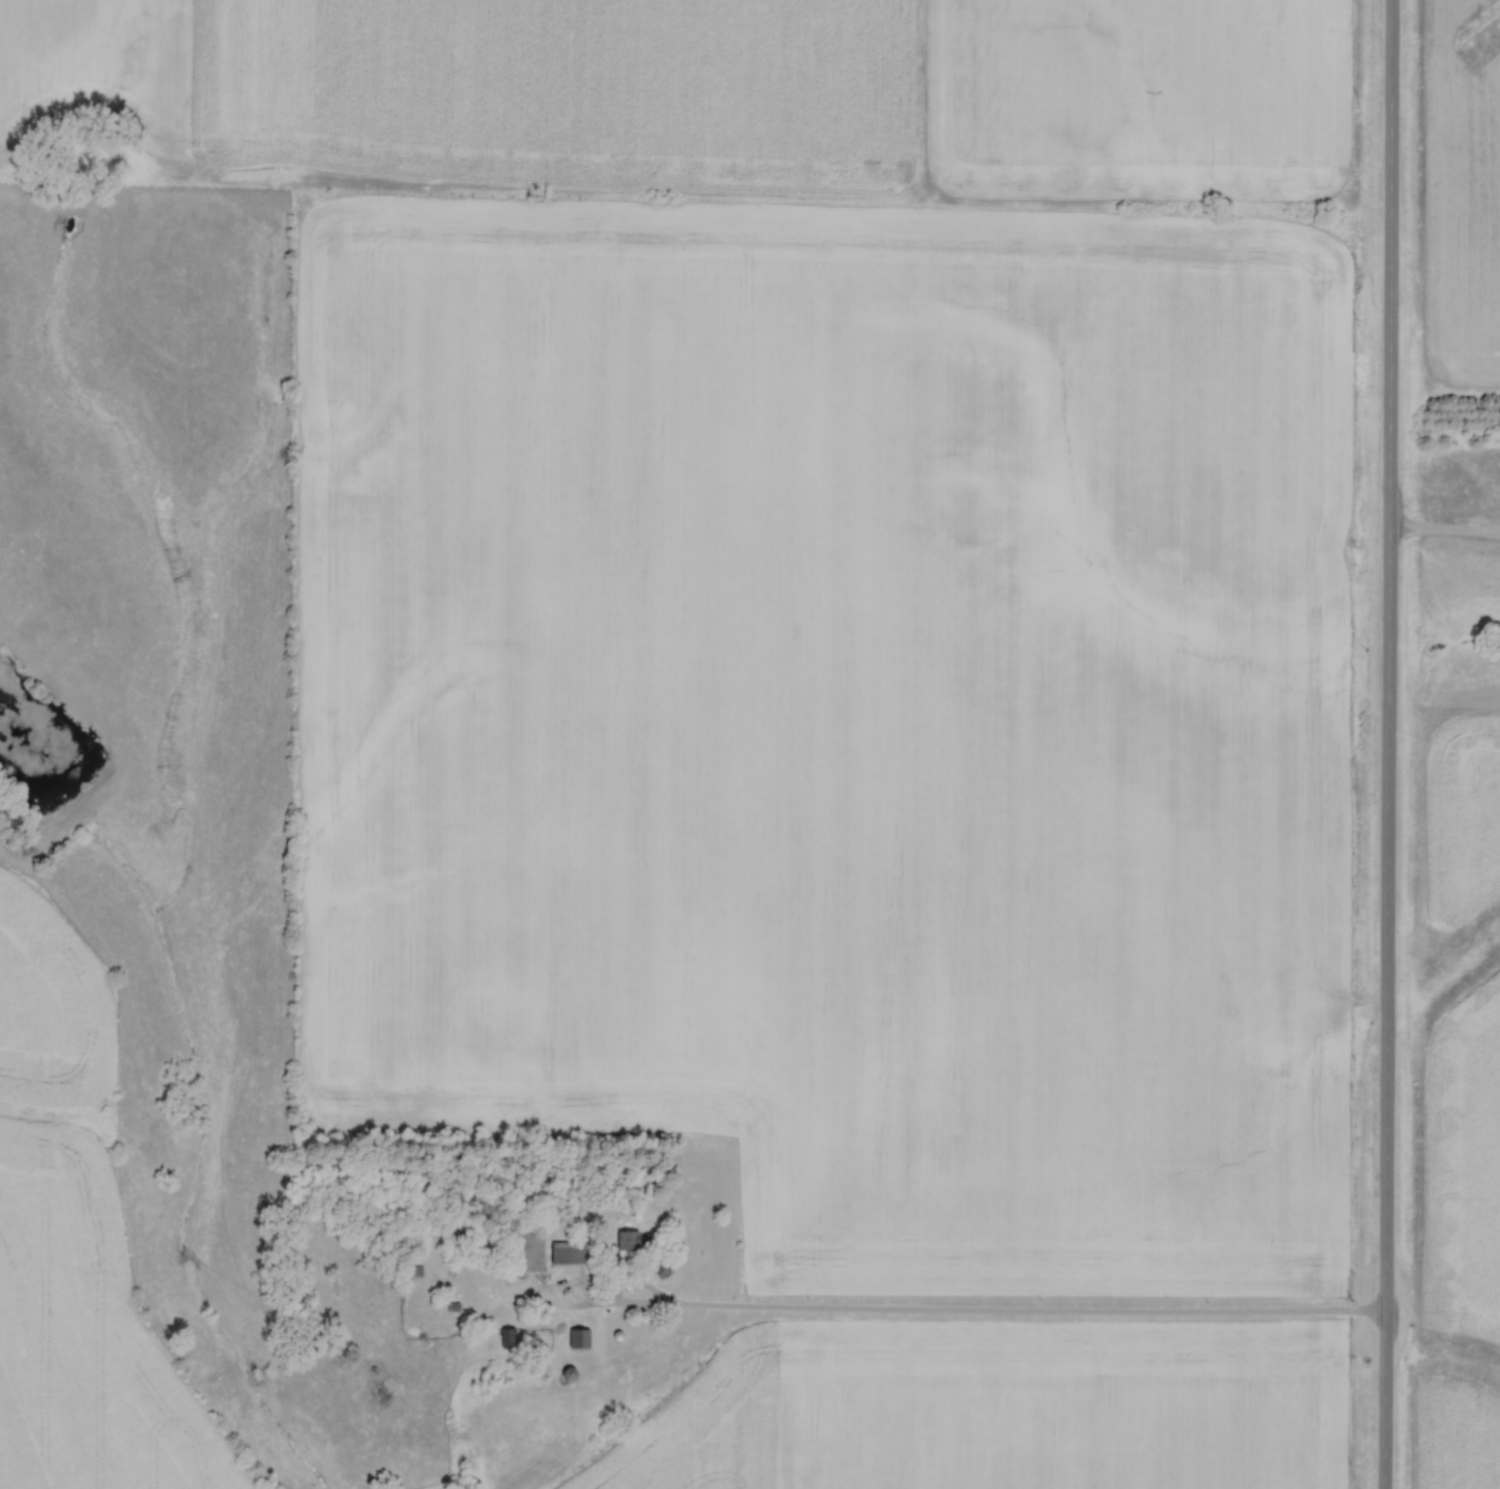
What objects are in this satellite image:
road: (1444, 533)
road: (1387, 744)
building: (626, 1241)
building: (535, 1250)
building: (566, 1252)
building: (413, 1270)
road: (994, 1313)
building: (580, 1338)

